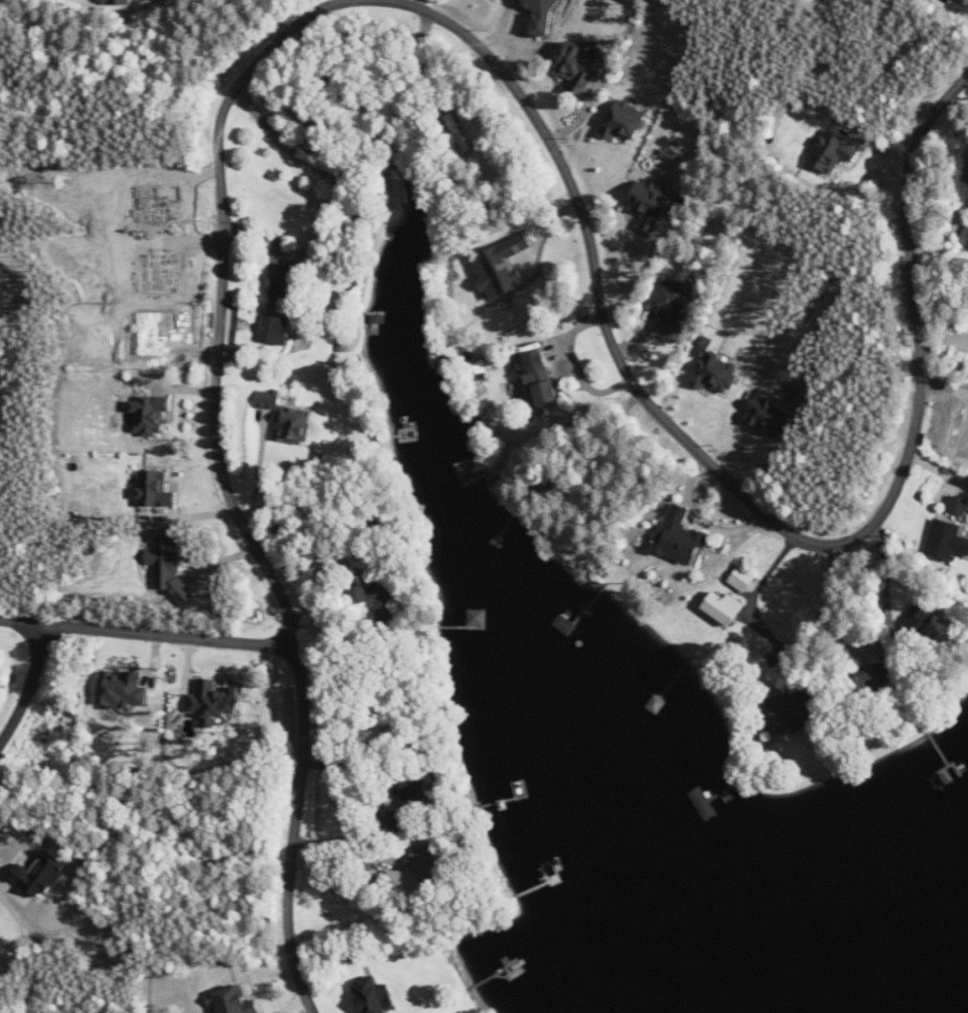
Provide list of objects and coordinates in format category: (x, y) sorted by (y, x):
building: (961, 0)
road: (450, 33)
building: (580, 67)
building: (625, 121)
building: (833, 151)
building: (963, 157)
building: (650, 202)
building: (502, 266)
road: (640, 273)
building: (291, 277)
building: (675, 305)
building: (277, 330)
road: (943, 338)
building: (715, 369)
building: (542, 378)
building: (769, 414)
building: (151, 415)
building: (287, 417)
building: (961, 458)
building: (156, 489)
building: (959, 505)
building: (682, 537)
building: (950, 541)
building: (169, 568)
road: (886, 570)
road: (199, 577)
building: (743, 578)
building: (362, 594)
road: (824, 602)
building: (725, 607)
building: (928, 620)
road: (148, 631)
building: (869, 678)
road: (28, 684)
building: (124, 689)
building: (215, 702)
building: (793, 713)
building: (416, 789)
building: (404, 820)
road: (352, 859)
building: (419, 871)
building: (40, 877)
building: (374, 996)

